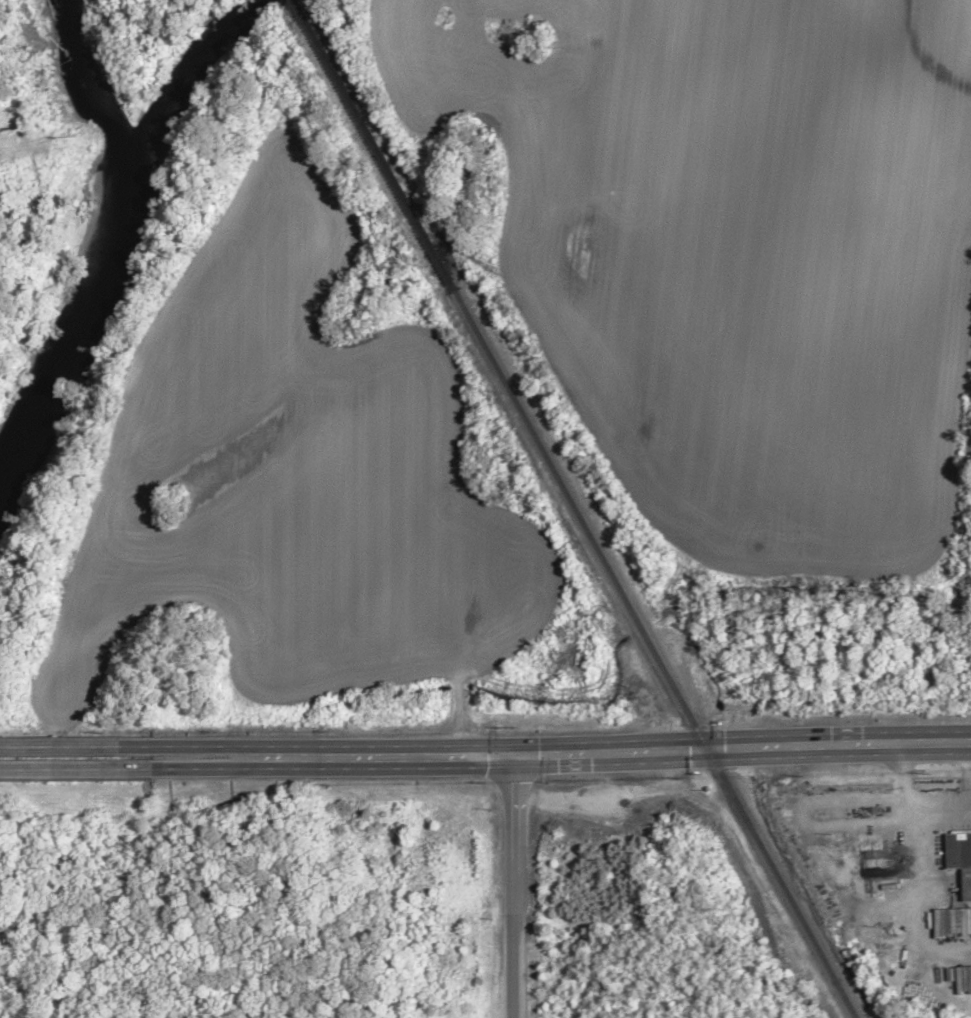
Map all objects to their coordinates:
railway: (295, 1)
river: (194, 72)
river: (116, 241)
railway: (566, 514)
road: (75, 745)
road: (257, 746)
road: (666, 748)
traffic signals: (519, 751)
road: (258, 768)
road: (76, 771)
building: (865, 826)
building: (961, 856)
road: (515, 884)

